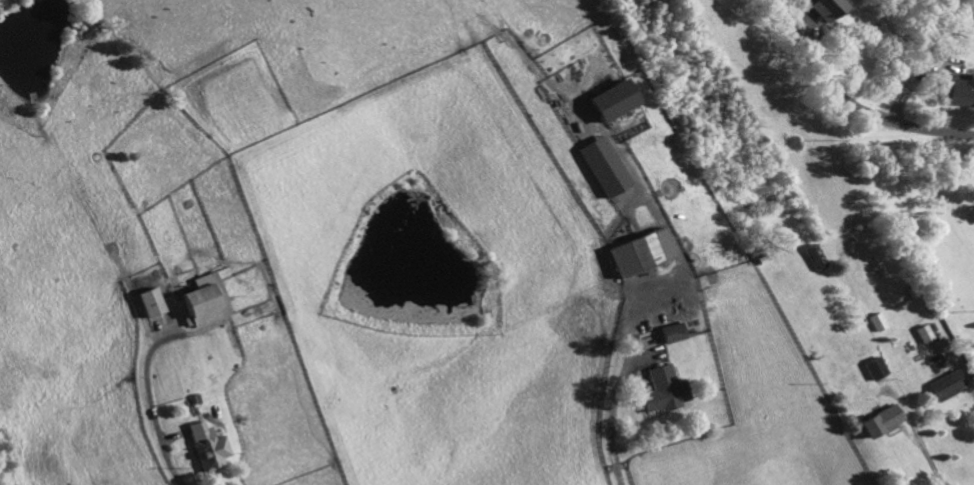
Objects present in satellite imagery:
building: (822, 9)
building: (959, 93)
road: (852, 100)
building: (612, 101)
building: (605, 168)
building: (640, 253)
building: (812, 258)
building: (206, 302)
building: (152, 303)
building: (874, 323)
building: (672, 334)
building: (921, 335)
building: (873, 370)
building: (945, 386)
building: (664, 392)
road: (151, 412)
road: (612, 415)
building: (881, 423)
building: (208, 448)

